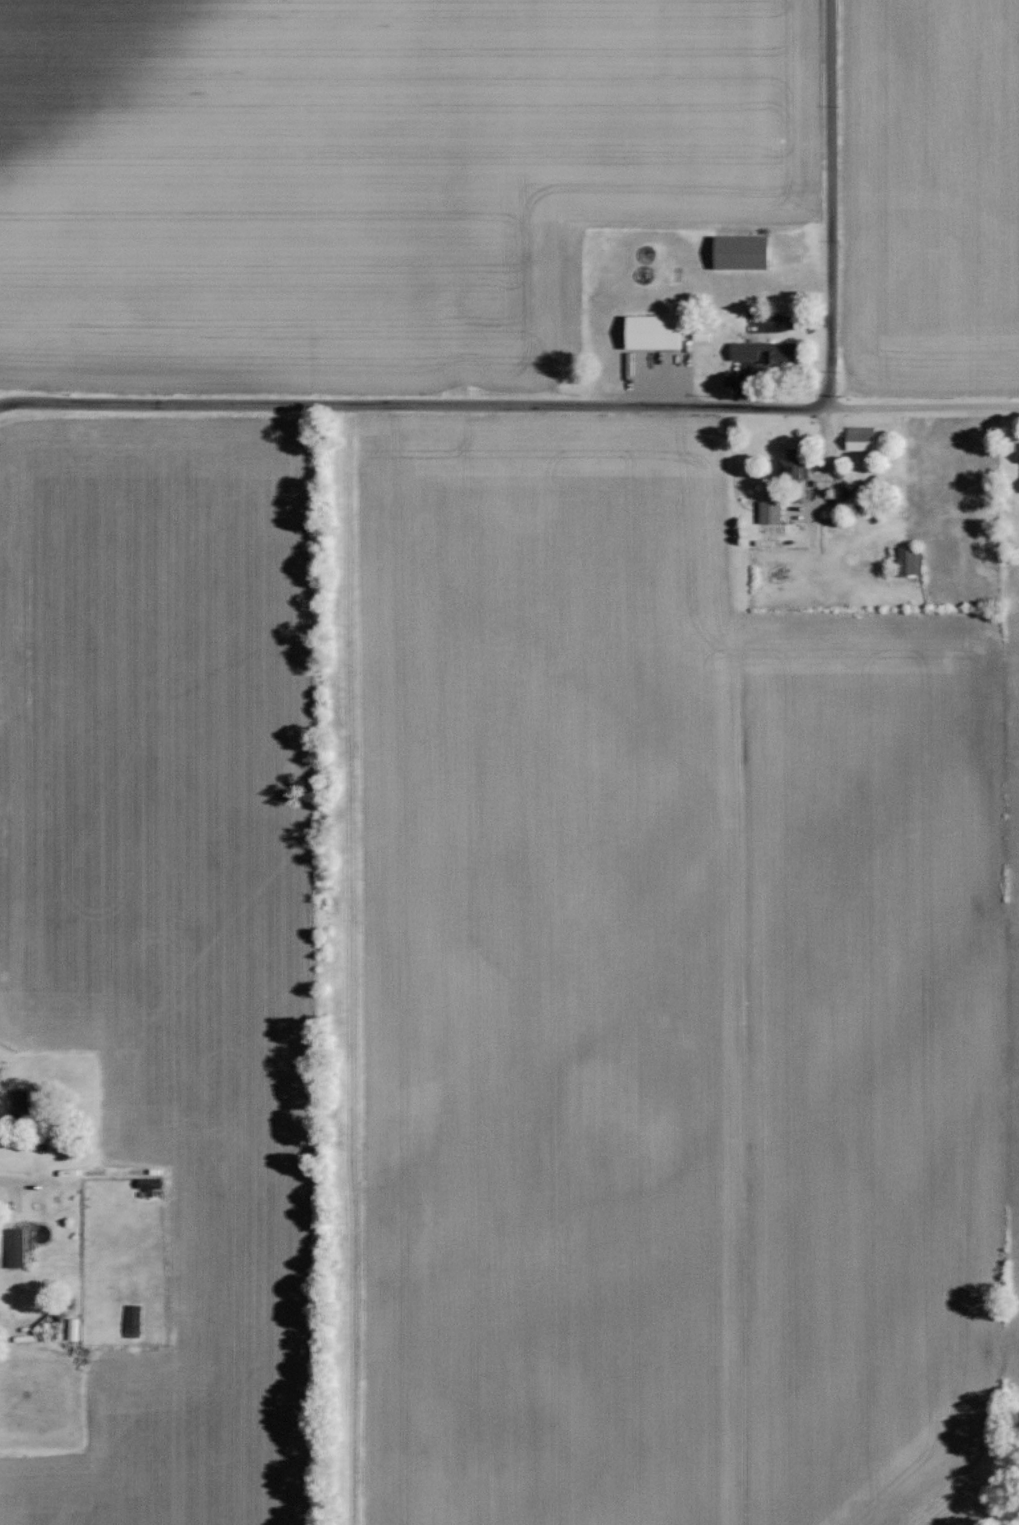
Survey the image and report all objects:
road: (830, 198)
building: (735, 251)
building: (646, 331)
building: (762, 354)
road: (8, 401)
road: (421, 402)
road: (920, 403)
building: (857, 437)
building: (1017, 456)
building: (789, 465)
building: (767, 511)
building: (906, 559)
building: (23, 1102)
building: (19, 1249)

